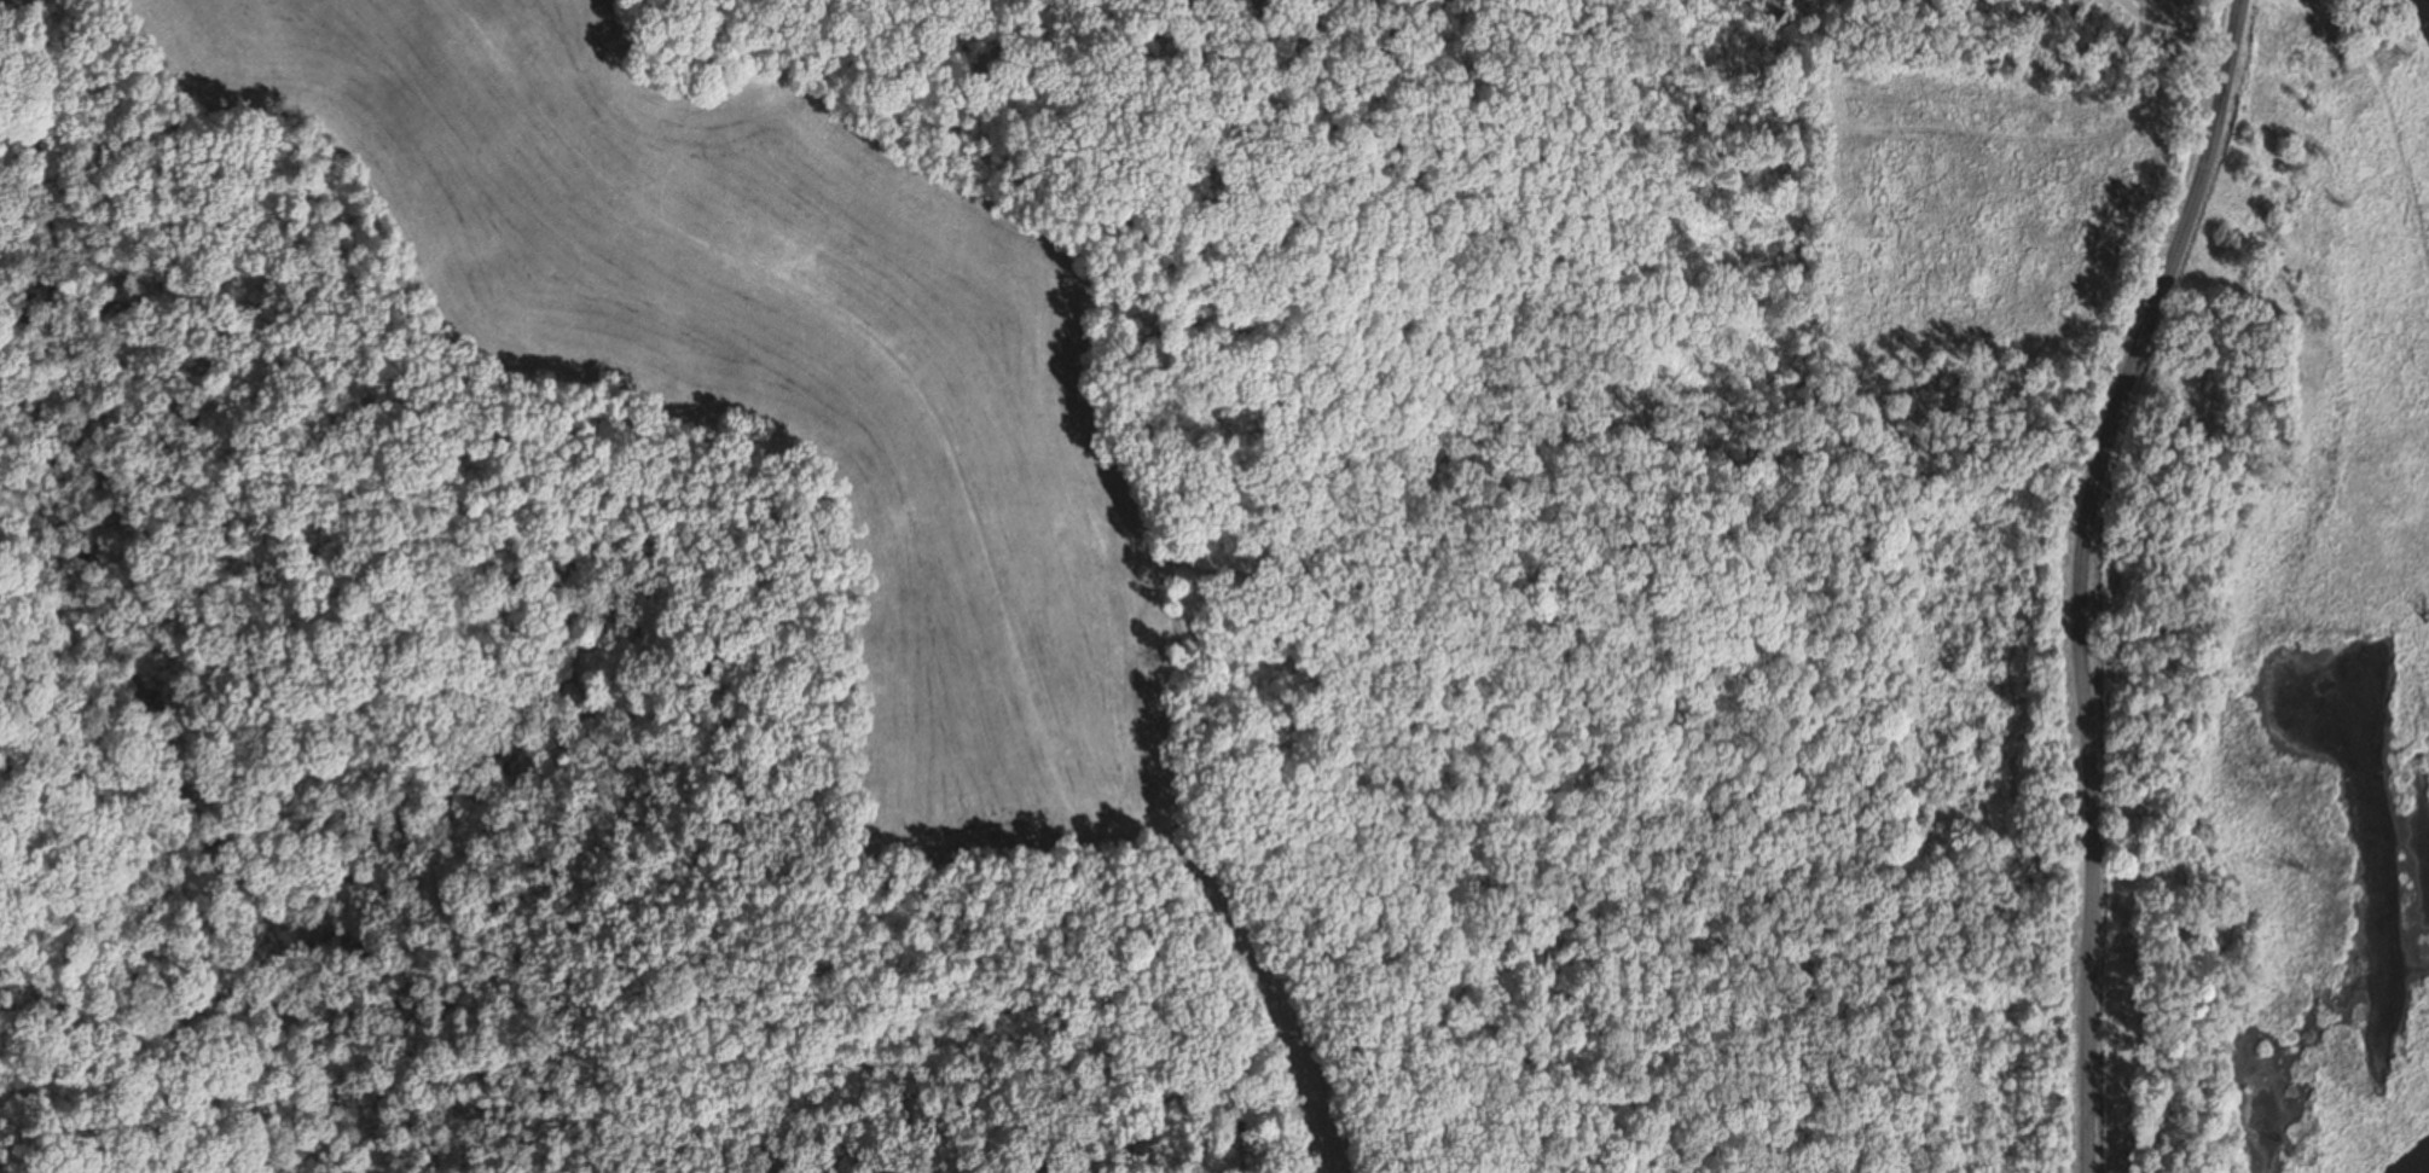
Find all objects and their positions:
road: (2170, 40)
road: (2077, 575)

